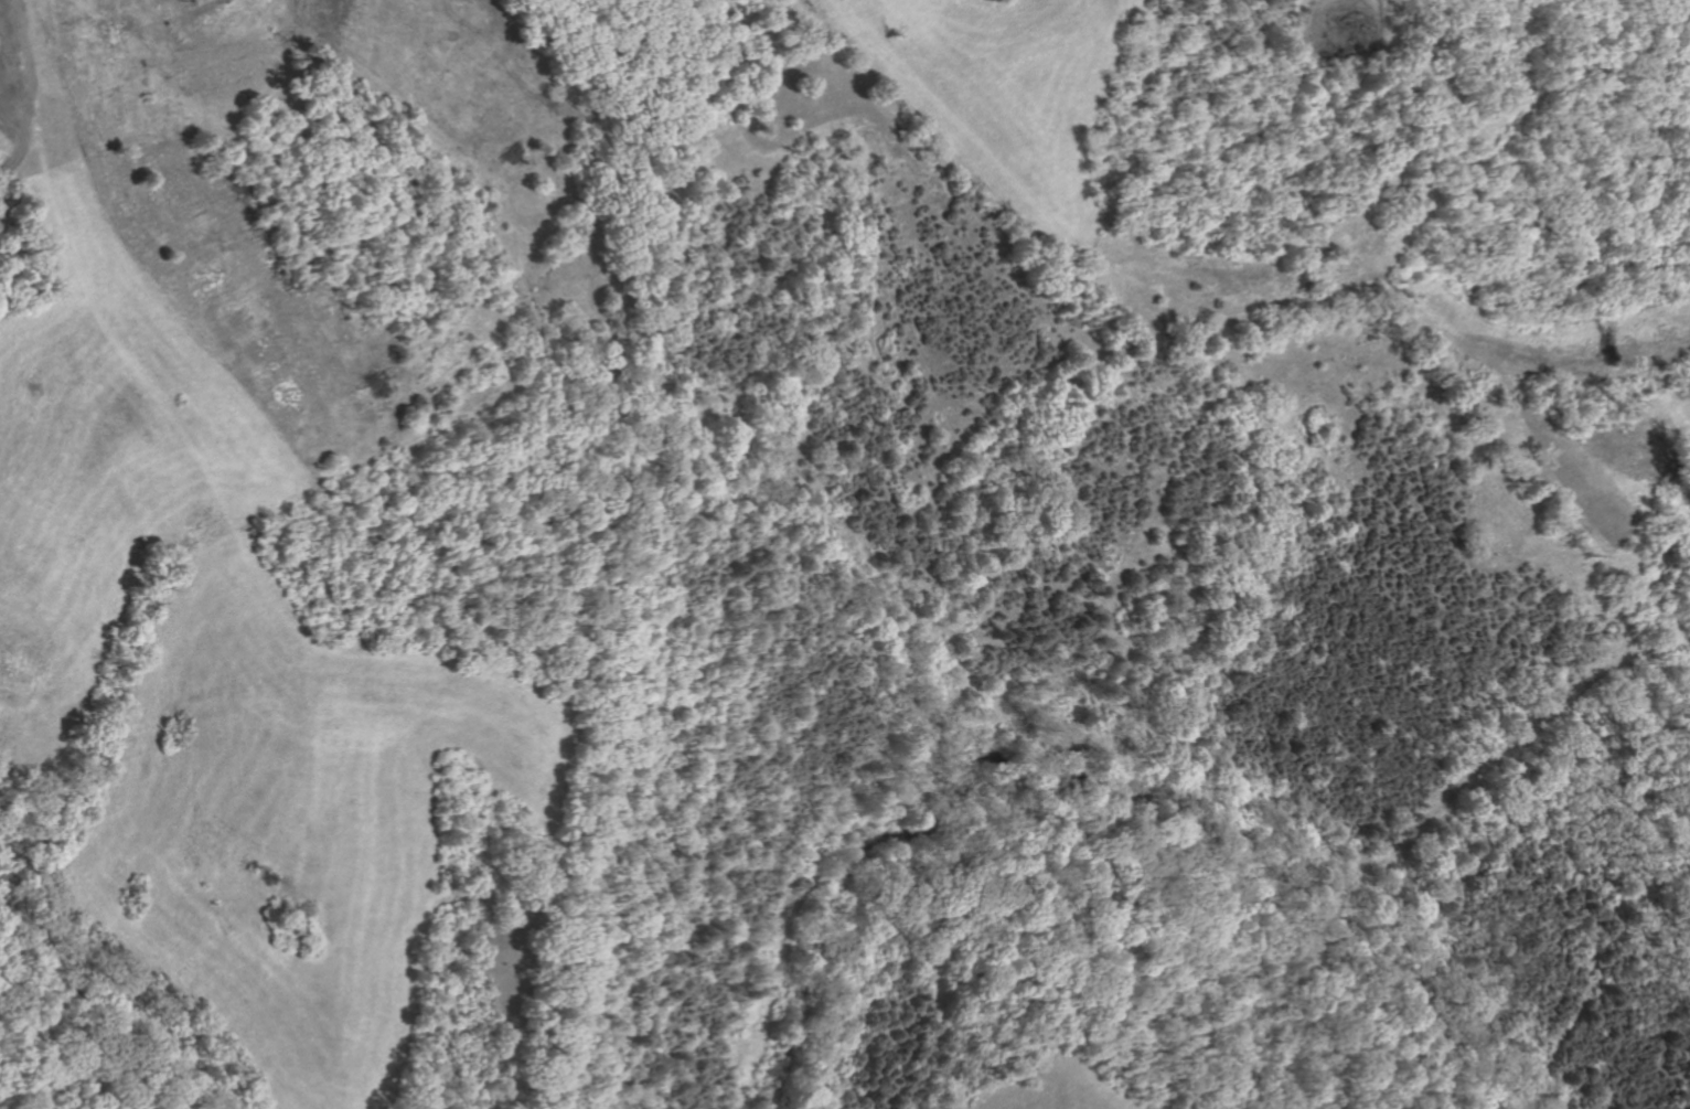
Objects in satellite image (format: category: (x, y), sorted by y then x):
road: (1233, 274)
road: (1668, 332)

